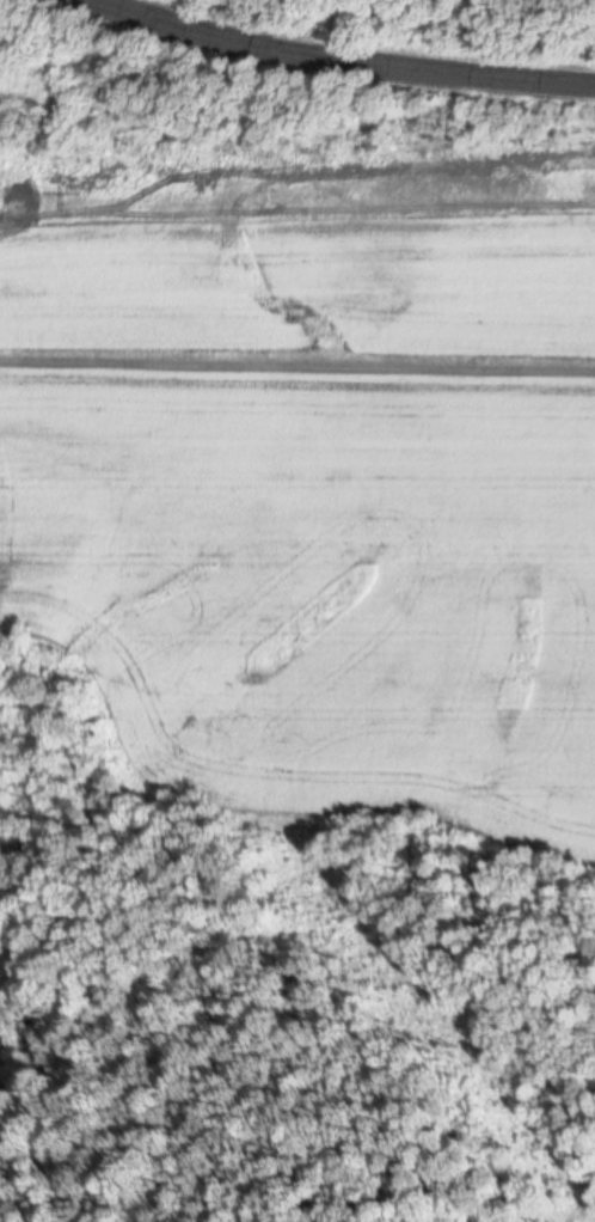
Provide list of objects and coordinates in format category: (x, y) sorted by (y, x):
road: (327, 67)

